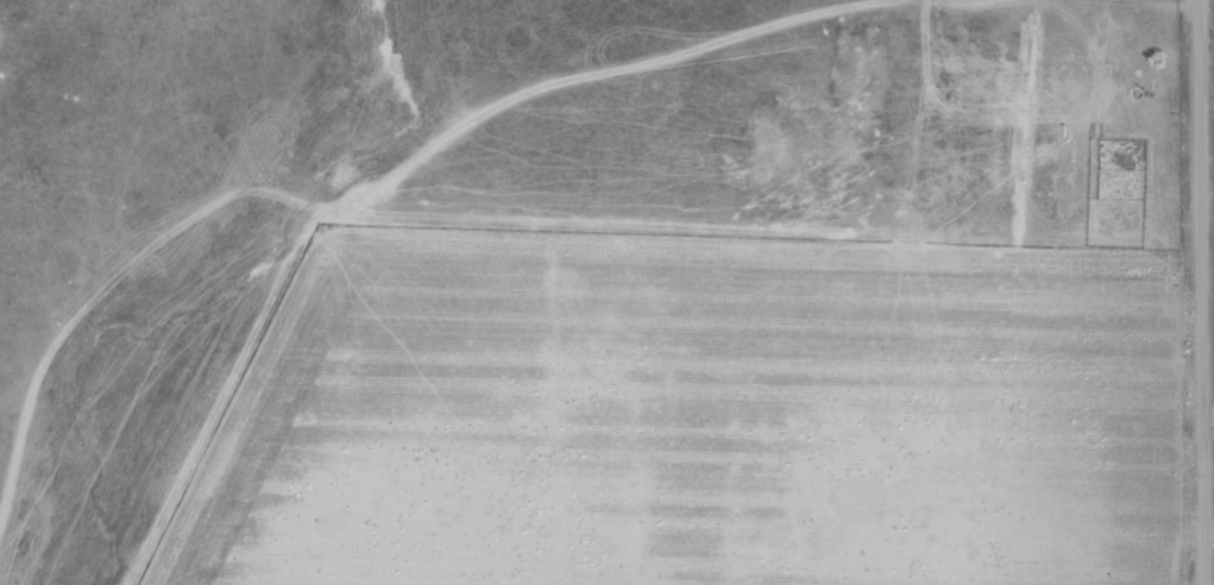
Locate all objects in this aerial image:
road: (1200, 291)

